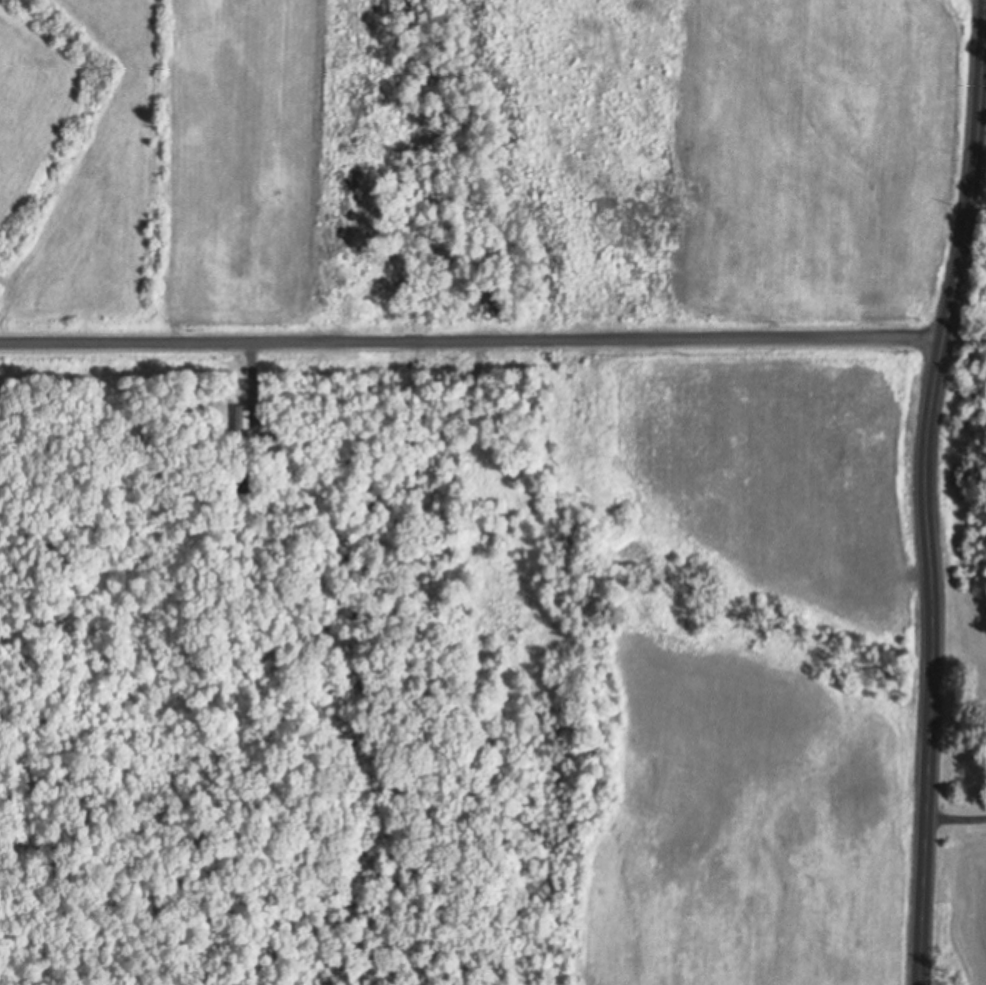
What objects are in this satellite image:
road: (470, 340)
building: (244, 415)
road: (927, 490)
road: (957, 819)

